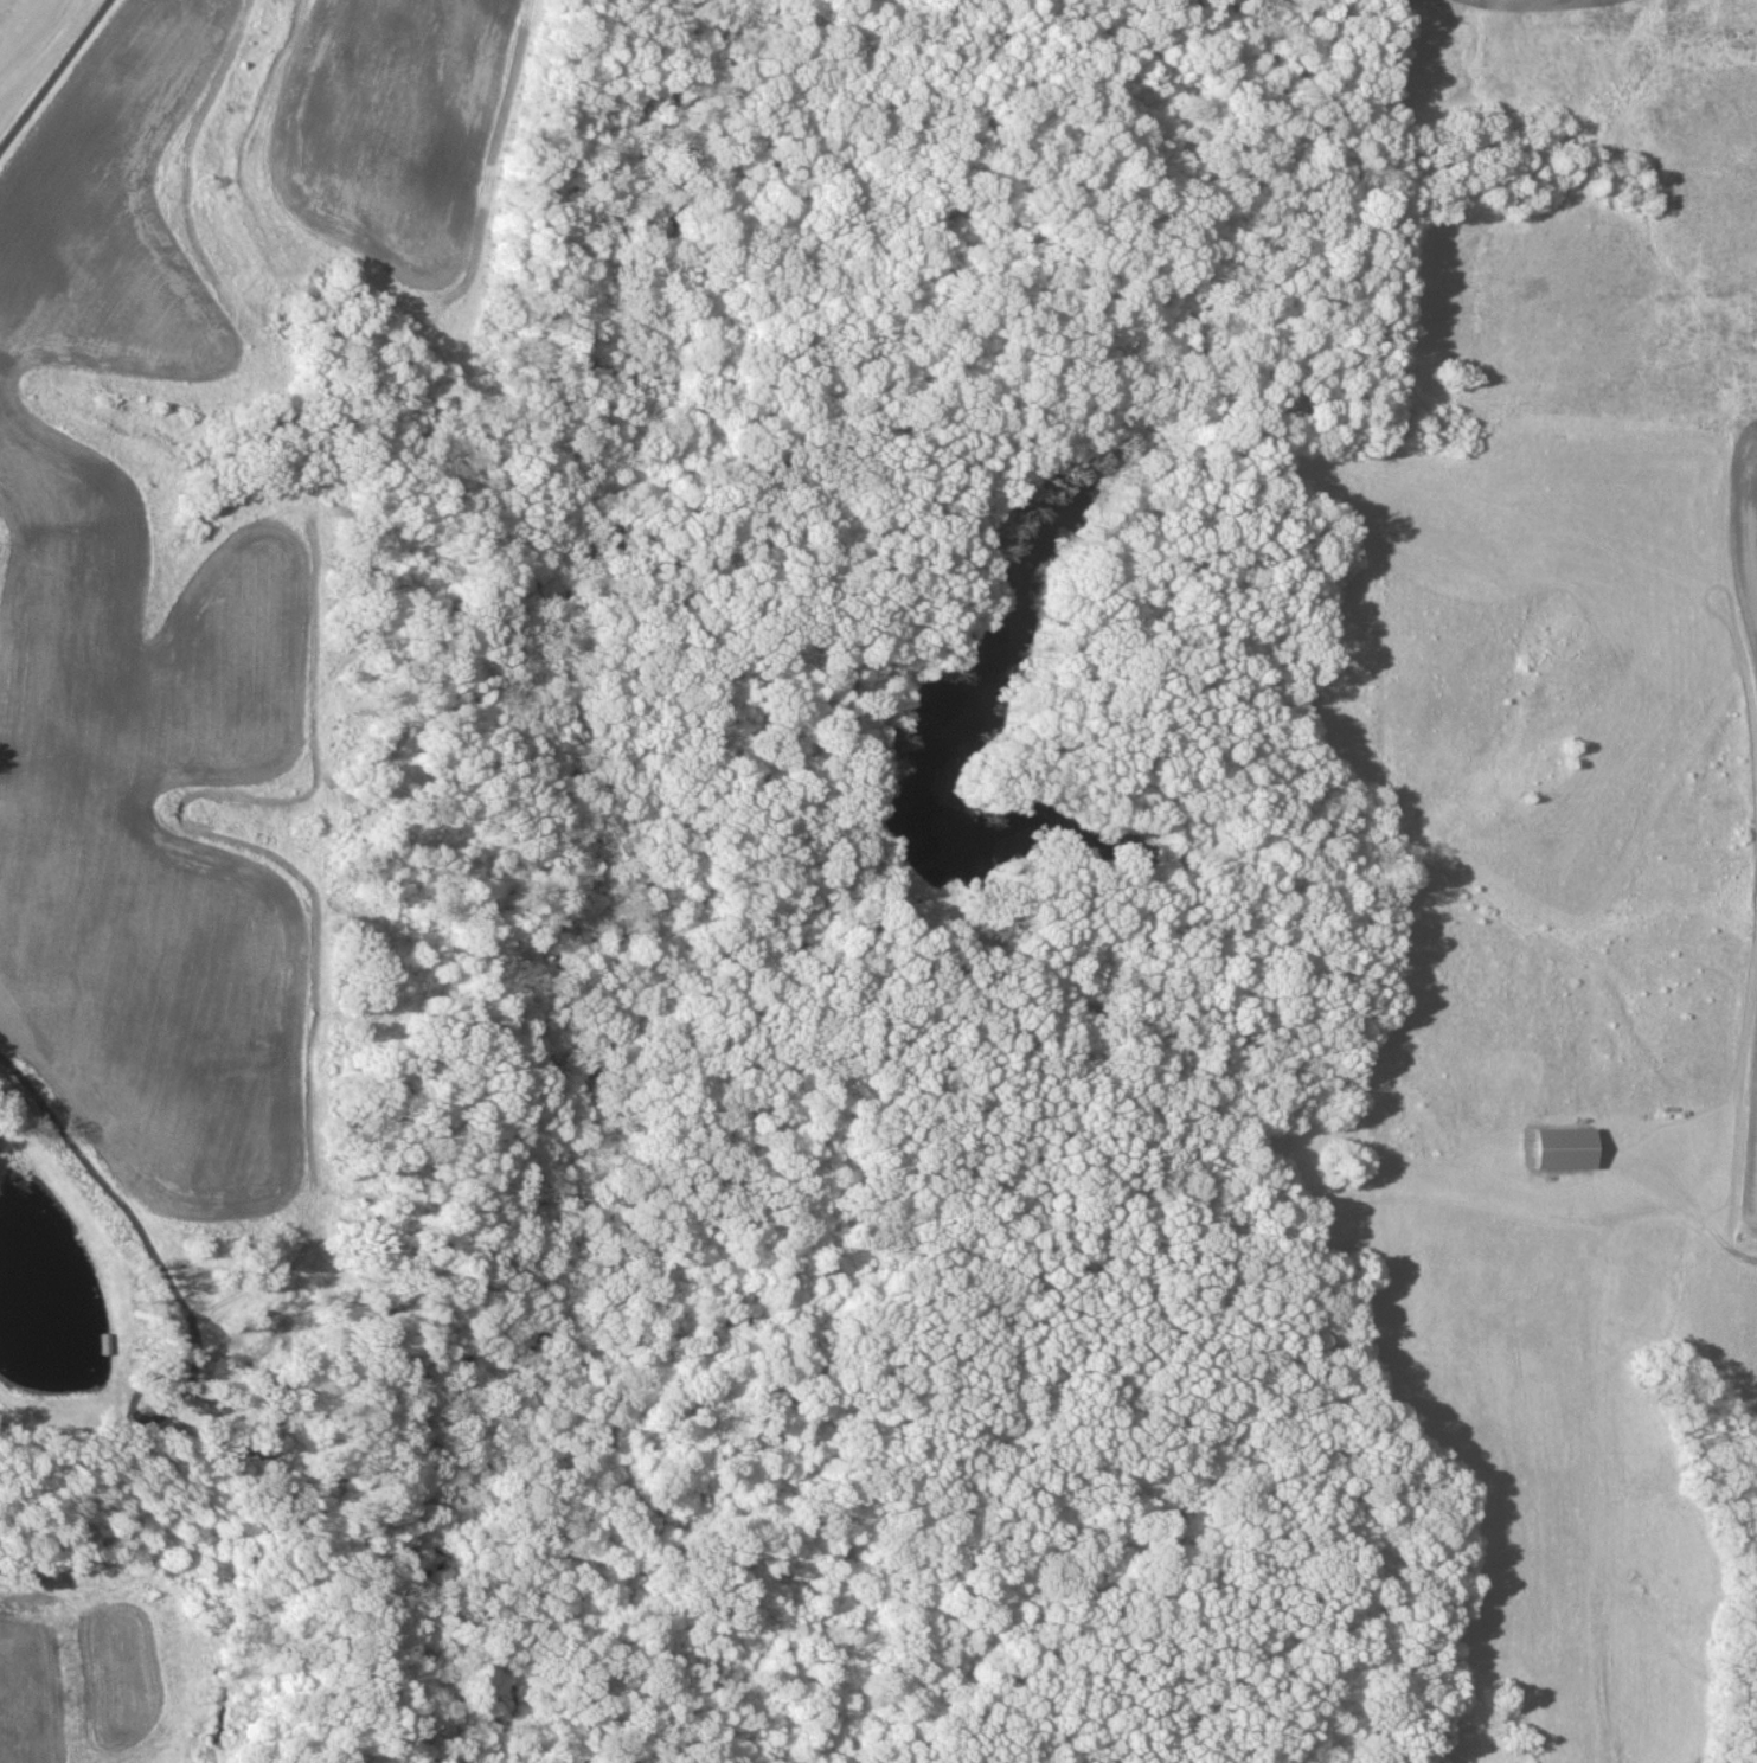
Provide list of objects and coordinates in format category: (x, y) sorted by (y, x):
road: (40, 50)
building: (1559, 1152)
road: (1694, 1210)
building: (108, 1346)

